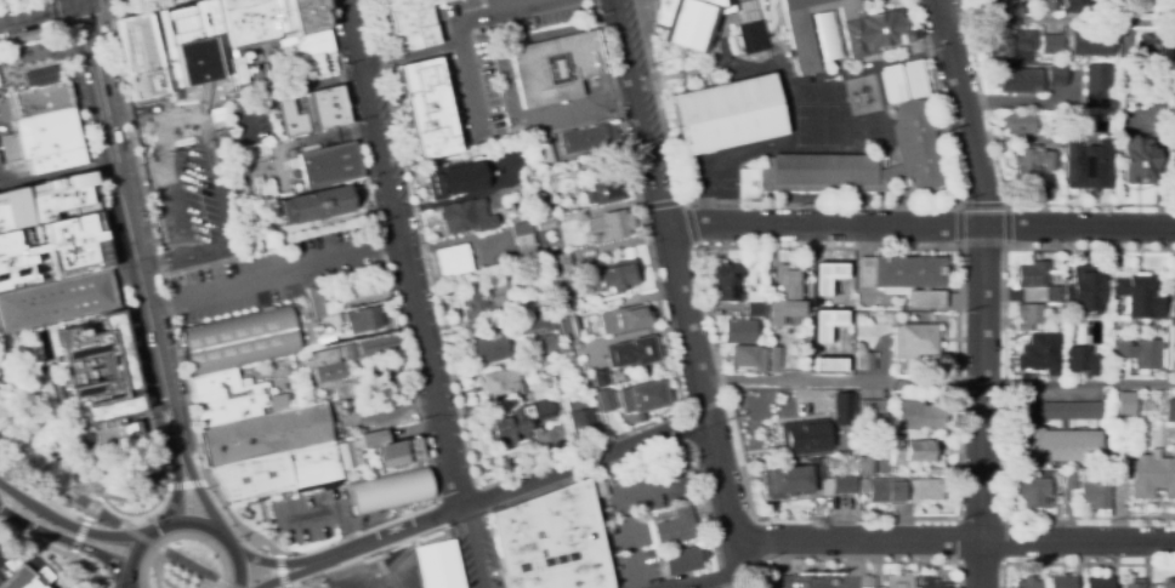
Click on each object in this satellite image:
building: (1052, 4)
building: (1077, 4)
road: (135, 7)
road: (34, 8)
building: (308, 16)
building: (283, 18)
building: (263, 21)
building: (530, 21)
road: (73, 22)
building: (687, 22)
building: (246, 23)
building: (229, 24)
building: (411, 24)
road: (1058, 24)
road: (460, 25)
building: (875, 36)
building: (750, 38)
building: (216, 40)
building: (1011, 44)
building: (1051, 44)
building: (1090, 44)
building: (192, 45)
building: (305, 46)
building: (1148, 48)
building: (165, 51)
building: (148, 55)
building: (130, 59)
building: (558, 69)
building: (311, 72)
building: (1173, 73)
building: (1057, 75)
building: (39, 78)
building: (910, 80)
building: (1021, 80)
building: (891, 85)
building: (1097, 85)
building: (40, 101)
building: (310, 102)
road: (578, 108)
building: (427, 109)
building: (728, 115)
building: (314, 121)
building: (1018, 124)
building: (1099, 125)
building: (47, 129)
building: (1056, 133)
building: (586, 138)
building: (1174, 142)
building: (1055, 143)
building: (541, 150)
building: (53, 158)
building: (1140, 161)
building: (853, 164)
building: (1032, 164)
building: (1091, 164)
building: (329, 166)
road: (214, 176)
road: (172, 182)
building: (455, 182)
road: (1001, 184)
parking lot: (188, 189)
road: (658, 189)
building: (604, 192)
building: (45, 202)
road: (682, 202)
road: (822, 205)
road: (982, 205)
building: (319, 206)
building: (540, 209)
building: (284, 212)
building: (458, 222)
building: (545, 223)
building: (608, 226)
road: (127, 227)
road: (920, 227)
building: (523, 238)
road: (825, 247)
building: (53, 252)
road: (403, 253)
building: (452, 262)
road: (273, 275)
building: (614, 276)
building: (904, 278)
parking lot: (278, 279)
building: (557, 279)
building: (726, 281)
building: (1032, 281)
building: (831, 282)
road: (980, 291)
building: (367, 292)
building: (1055, 293)
building: (787, 295)
building: (1135, 295)
building: (1173, 298)
building: (1084, 299)
building: (486, 301)
building: (56, 302)
building: (314, 302)
building: (757, 304)
building: (1028, 315)
building: (859, 316)
building: (624, 319)
building: (538, 320)
building: (362, 321)
building: (567, 327)
building: (237, 331)
building: (740, 331)
building: (914, 341)
building: (322, 342)
building: (547, 343)
building: (486, 348)
building: (635, 352)
building: (1140, 352)
building: (242, 355)
building: (1043, 355)
building: (748, 356)
building: (564, 358)
building: (774, 358)
building: (346, 359)
building: (1080, 359)
building: (819, 360)
building: (865, 360)
building: (100, 371)
building: (601, 378)
road: (937, 381)
building: (501, 383)
building: (214, 384)
building: (534, 394)
building: (643, 396)
building: (232, 399)
road: (704, 399)
building: (604, 400)
building: (1123, 401)
building: (842, 410)
building: (874, 410)
building: (1170, 411)
building: (235, 415)
building: (918, 416)
building: (516, 423)
building: (1133, 423)
building: (584, 424)
building: (127, 430)
building: (1145, 433)
building: (1062, 434)
building: (266, 435)
building: (805, 439)
building: (373, 440)
building: (912, 451)
building: (348, 455)
building: (398, 455)
building: (822, 459)
road: (547, 461)
building: (864, 466)
building: (933, 469)
building: (1137, 469)
building: (277, 473)
road: (665, 476)
building: (789, 480)
road: (721, 481)
building: (839, 481)
building: (1069, 481)
building: (863, 486)
road: (511, 489)
building: (387, 490)
building: (924, 490)
building: (885, 491)
building: (1033, 491)
building: (1095, 492)
road: (175, 493)
road: (46, 498)
road: (203, 499)
railway: (113, 520)
road: (183, 521)
road: (621, 521)
road: (73, 526)
building: (674, 529)
road: (68, 540)
road: (954, 540)
building: (552, 542)
road: (472, 548)
building: (681, 561)
parking lot: (4, 563)
road: (271, 563)
building: (437, 565)
road: (288, 576)
road: (717, 576)
building: (30, 578)
building: (896, 582)
building: (931, 582)
building: (1061, 582)
building: (1097, 582)
road: (284, 583)
building: (1027, 583)
building: (1134, 583)
building: (1168, 583)
building: (760, 584)
road: (127, 586)

